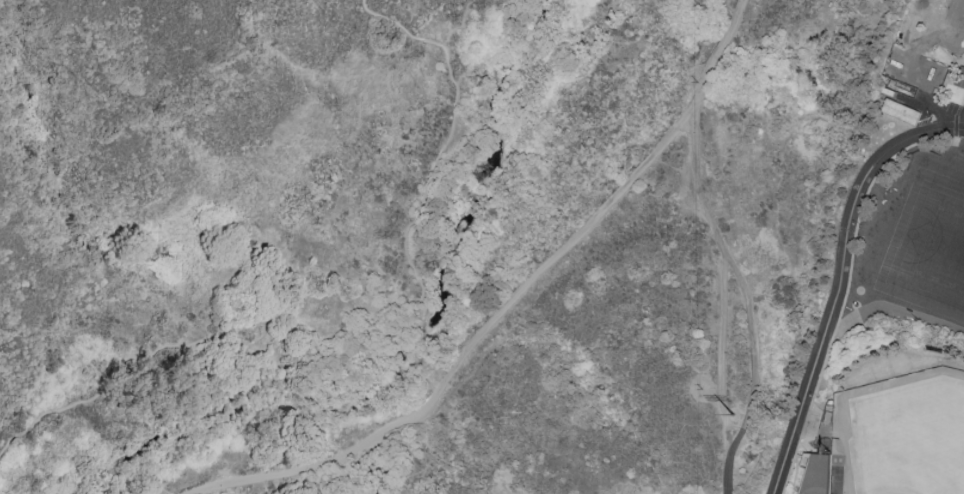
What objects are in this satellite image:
road: (735, 16)
park: (952, 26)
building: (960, 75)
building: (901, 109)
park: (402, 236)
park: (929, 240)
road: (839, 280)
road: (357, 295)
road: (744, 303)
road: (496, 317)
power tower: (771, 413)
power tower: (734, 415)
park: (893, 430)
road: (428, 460)

